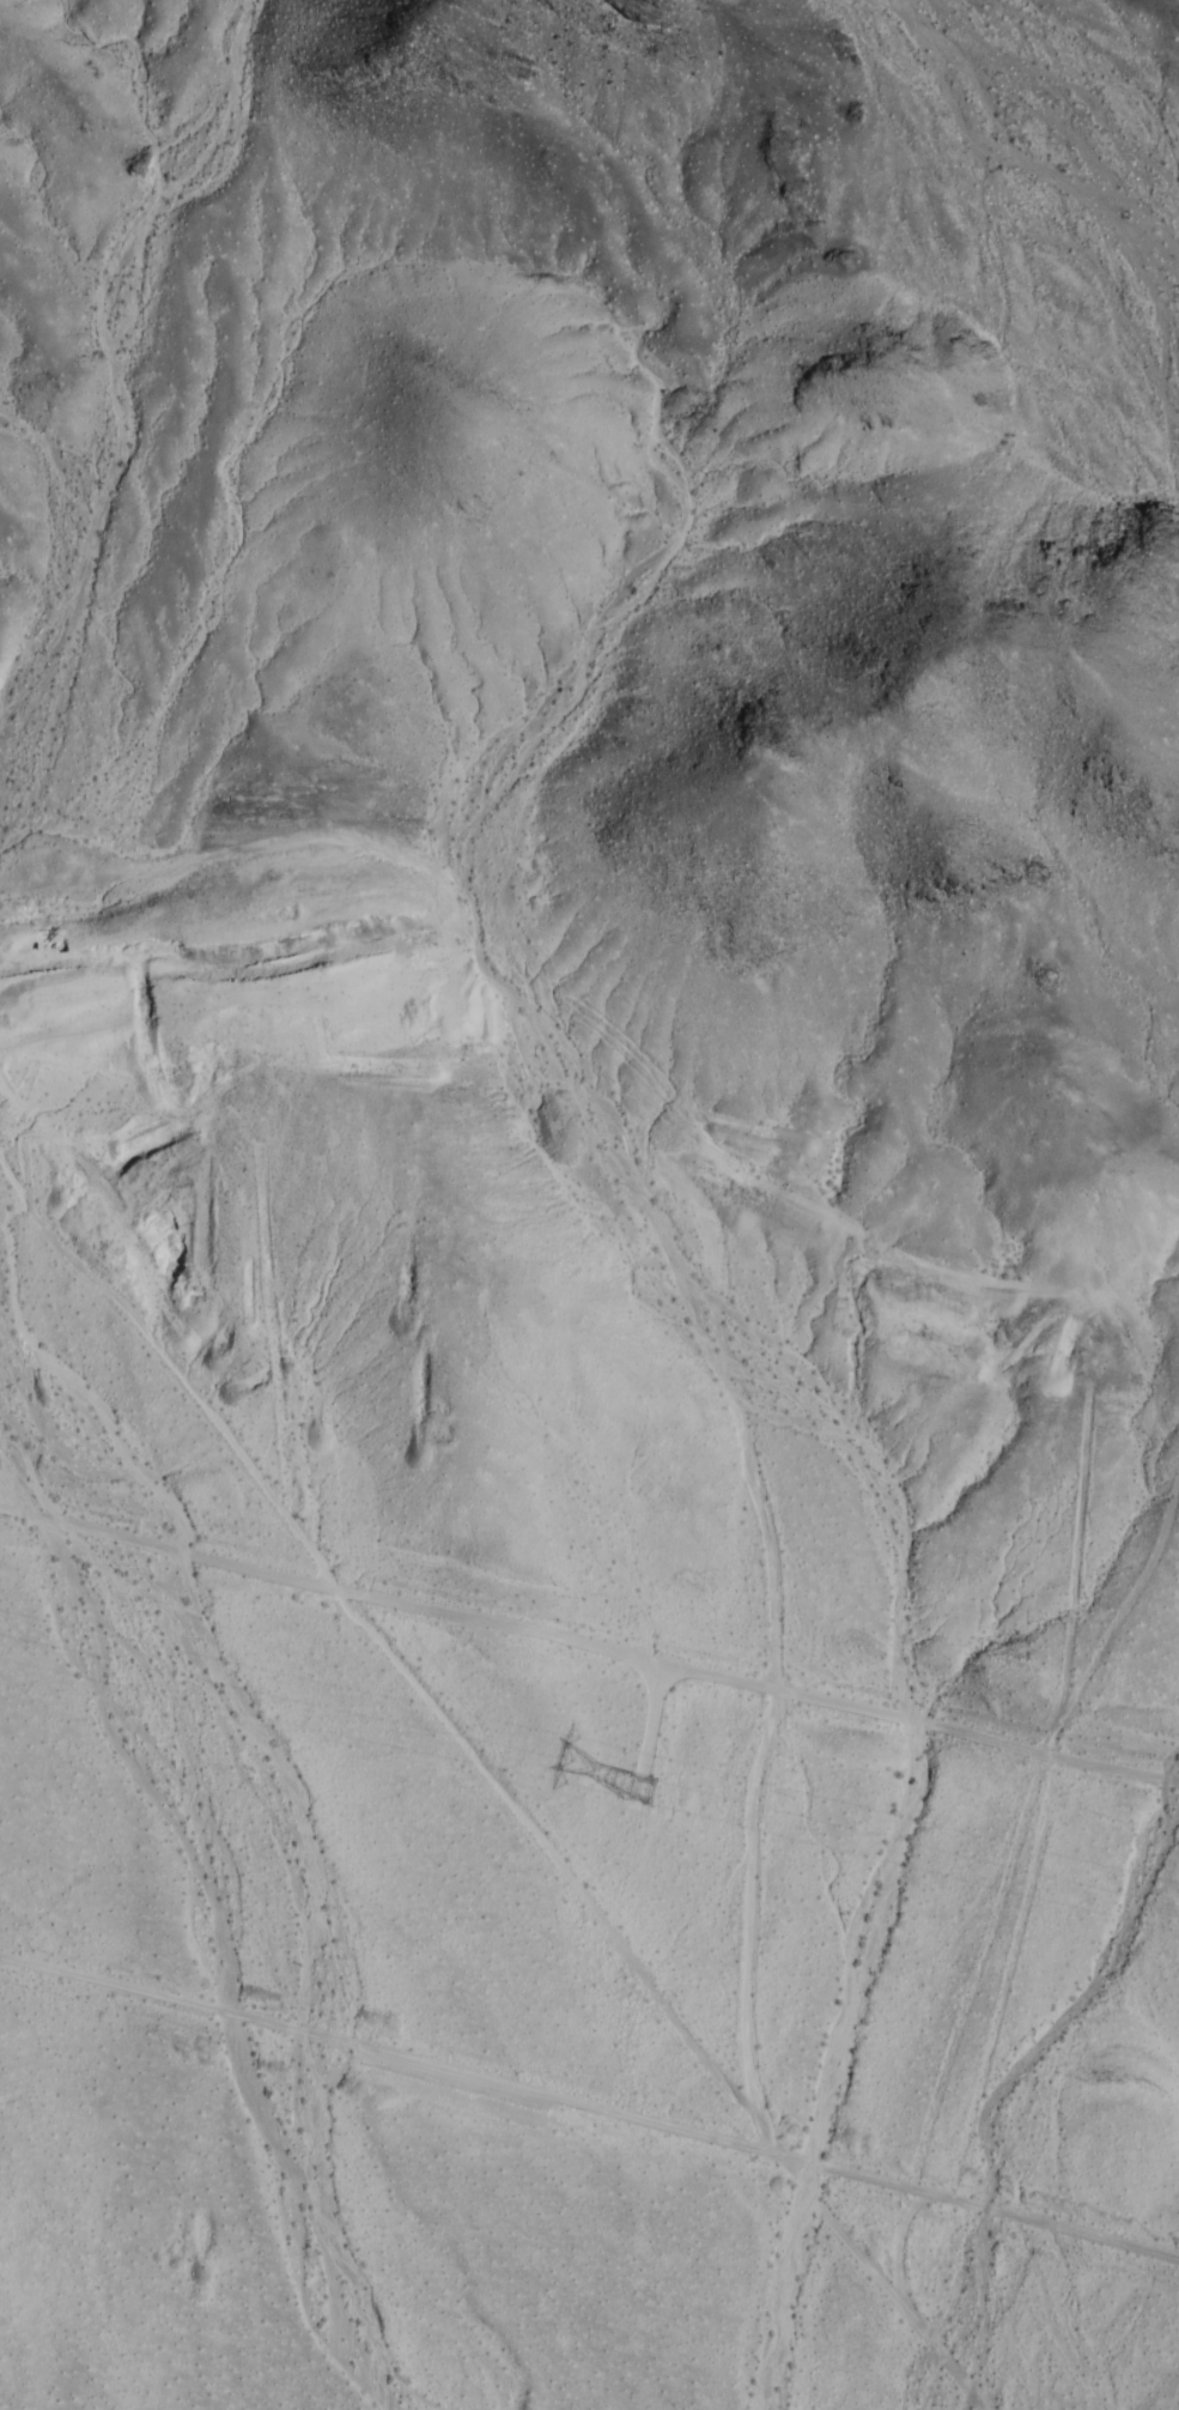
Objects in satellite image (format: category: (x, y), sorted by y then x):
road: (130, 418)
road: (589, 1631)
road: (344, 1635)
road: (774, 1659)
power tower: (644, 1782)
road: (589, 2108)

